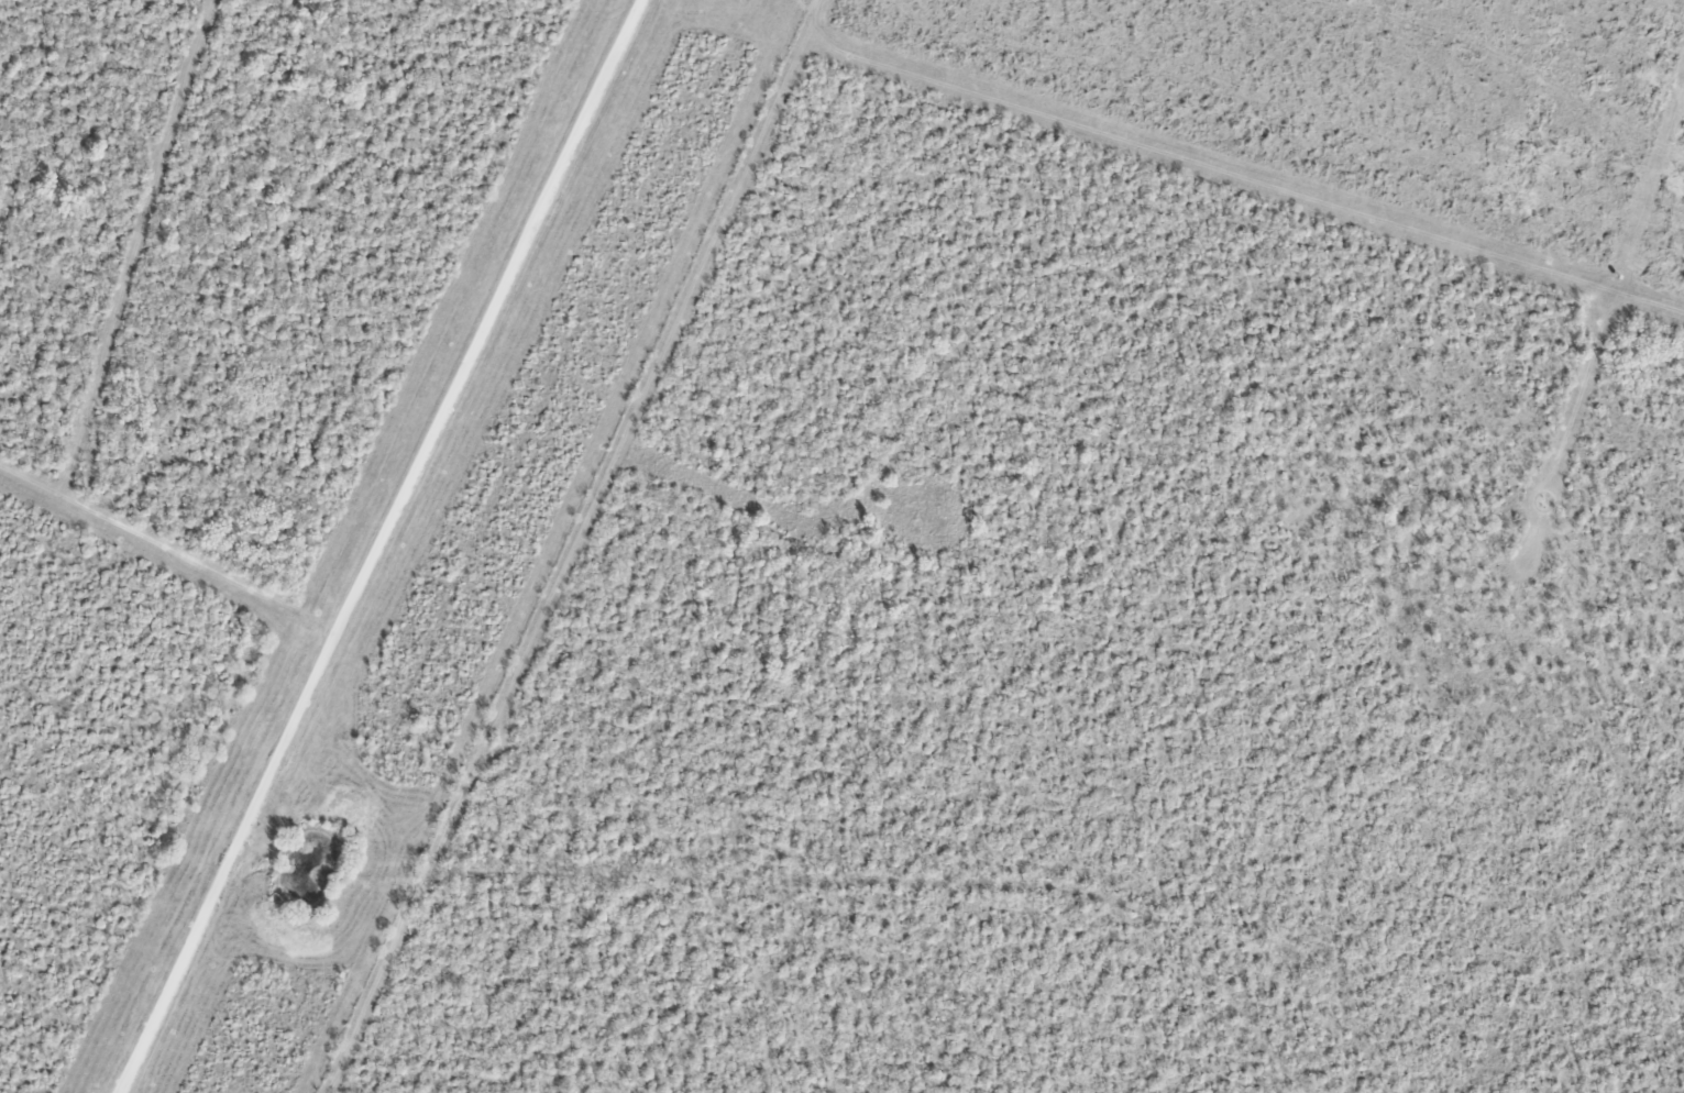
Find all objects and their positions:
road: (387, 546)

